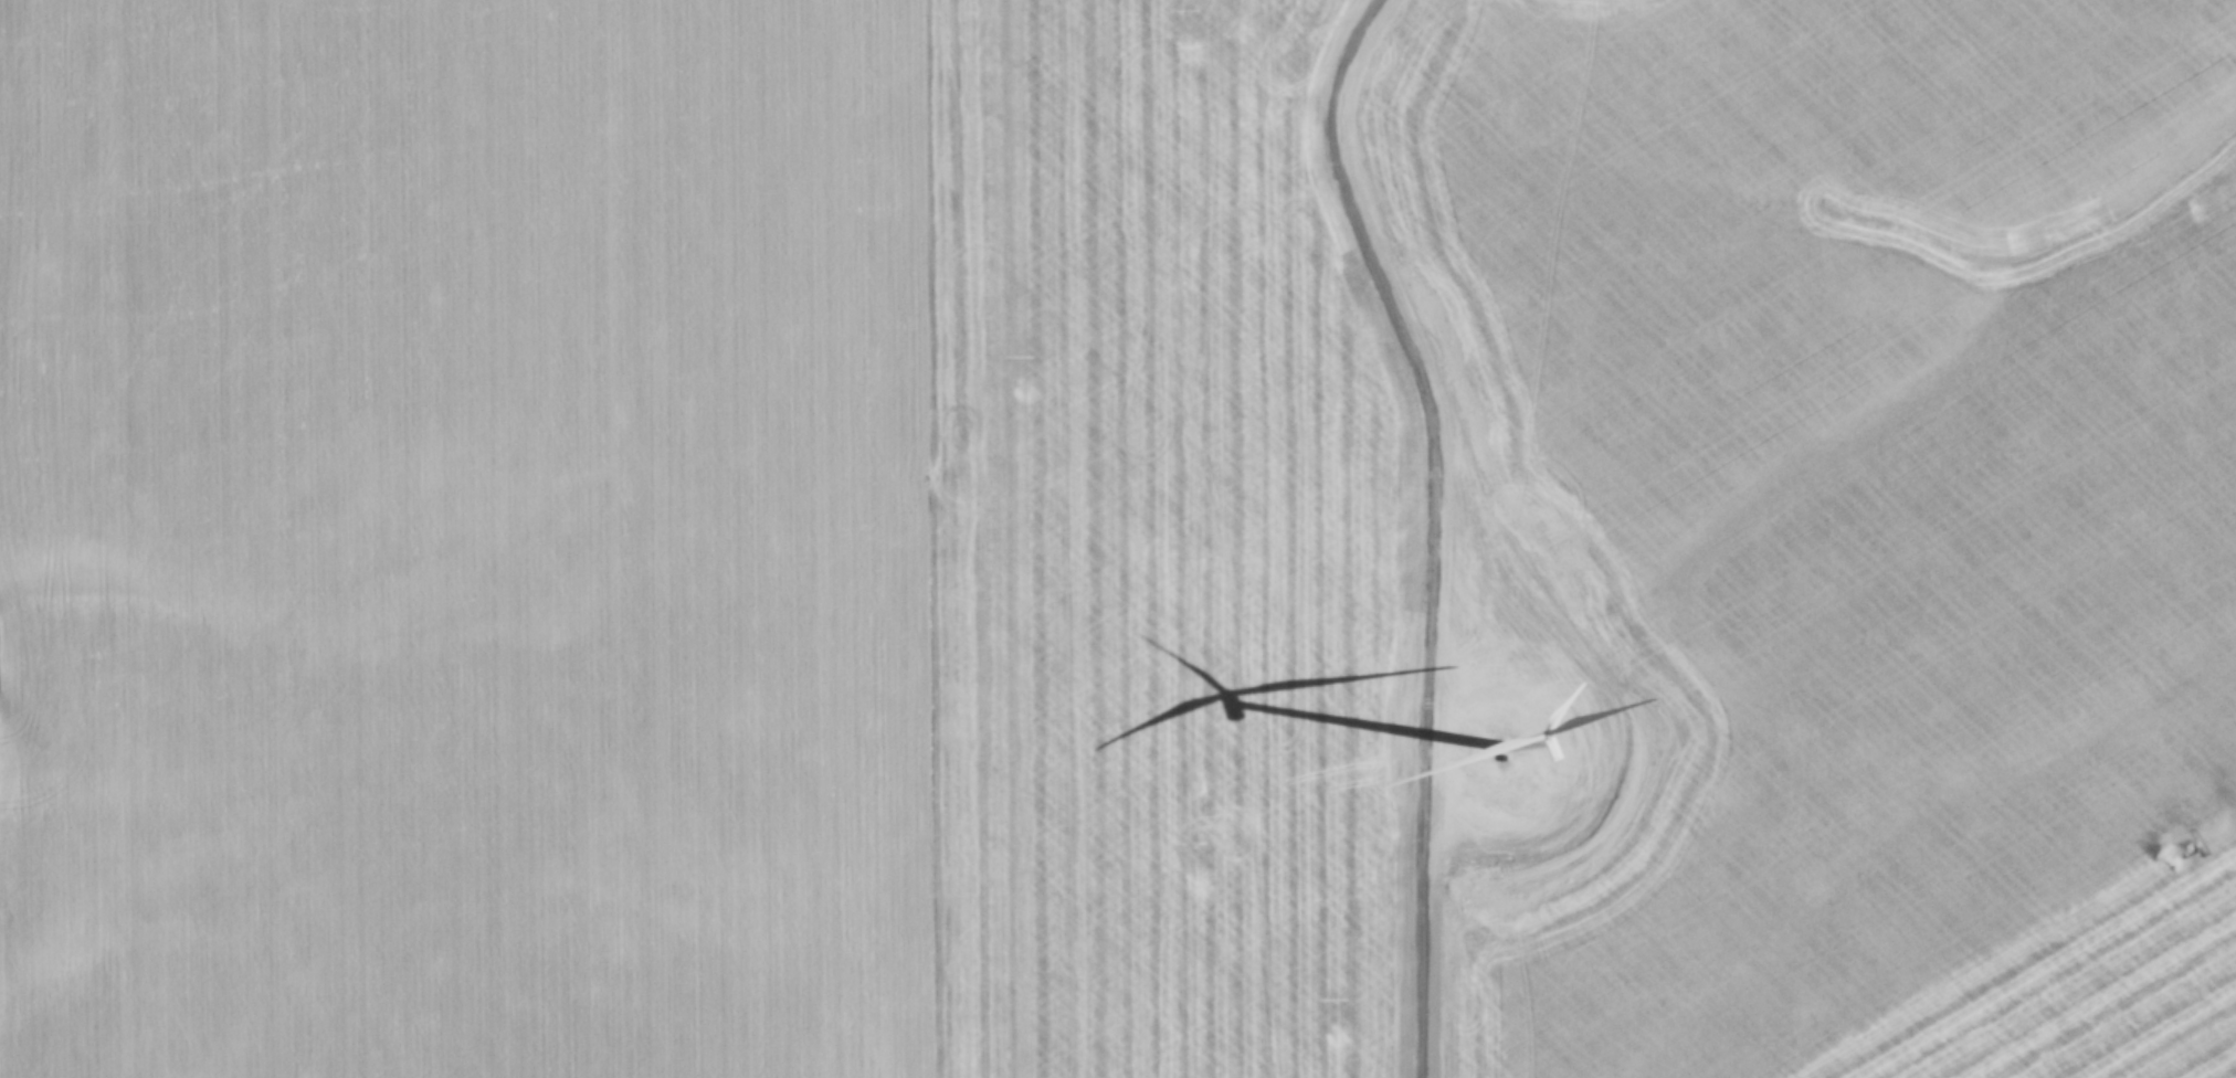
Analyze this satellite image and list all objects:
wind turbine: (1506, 747)

